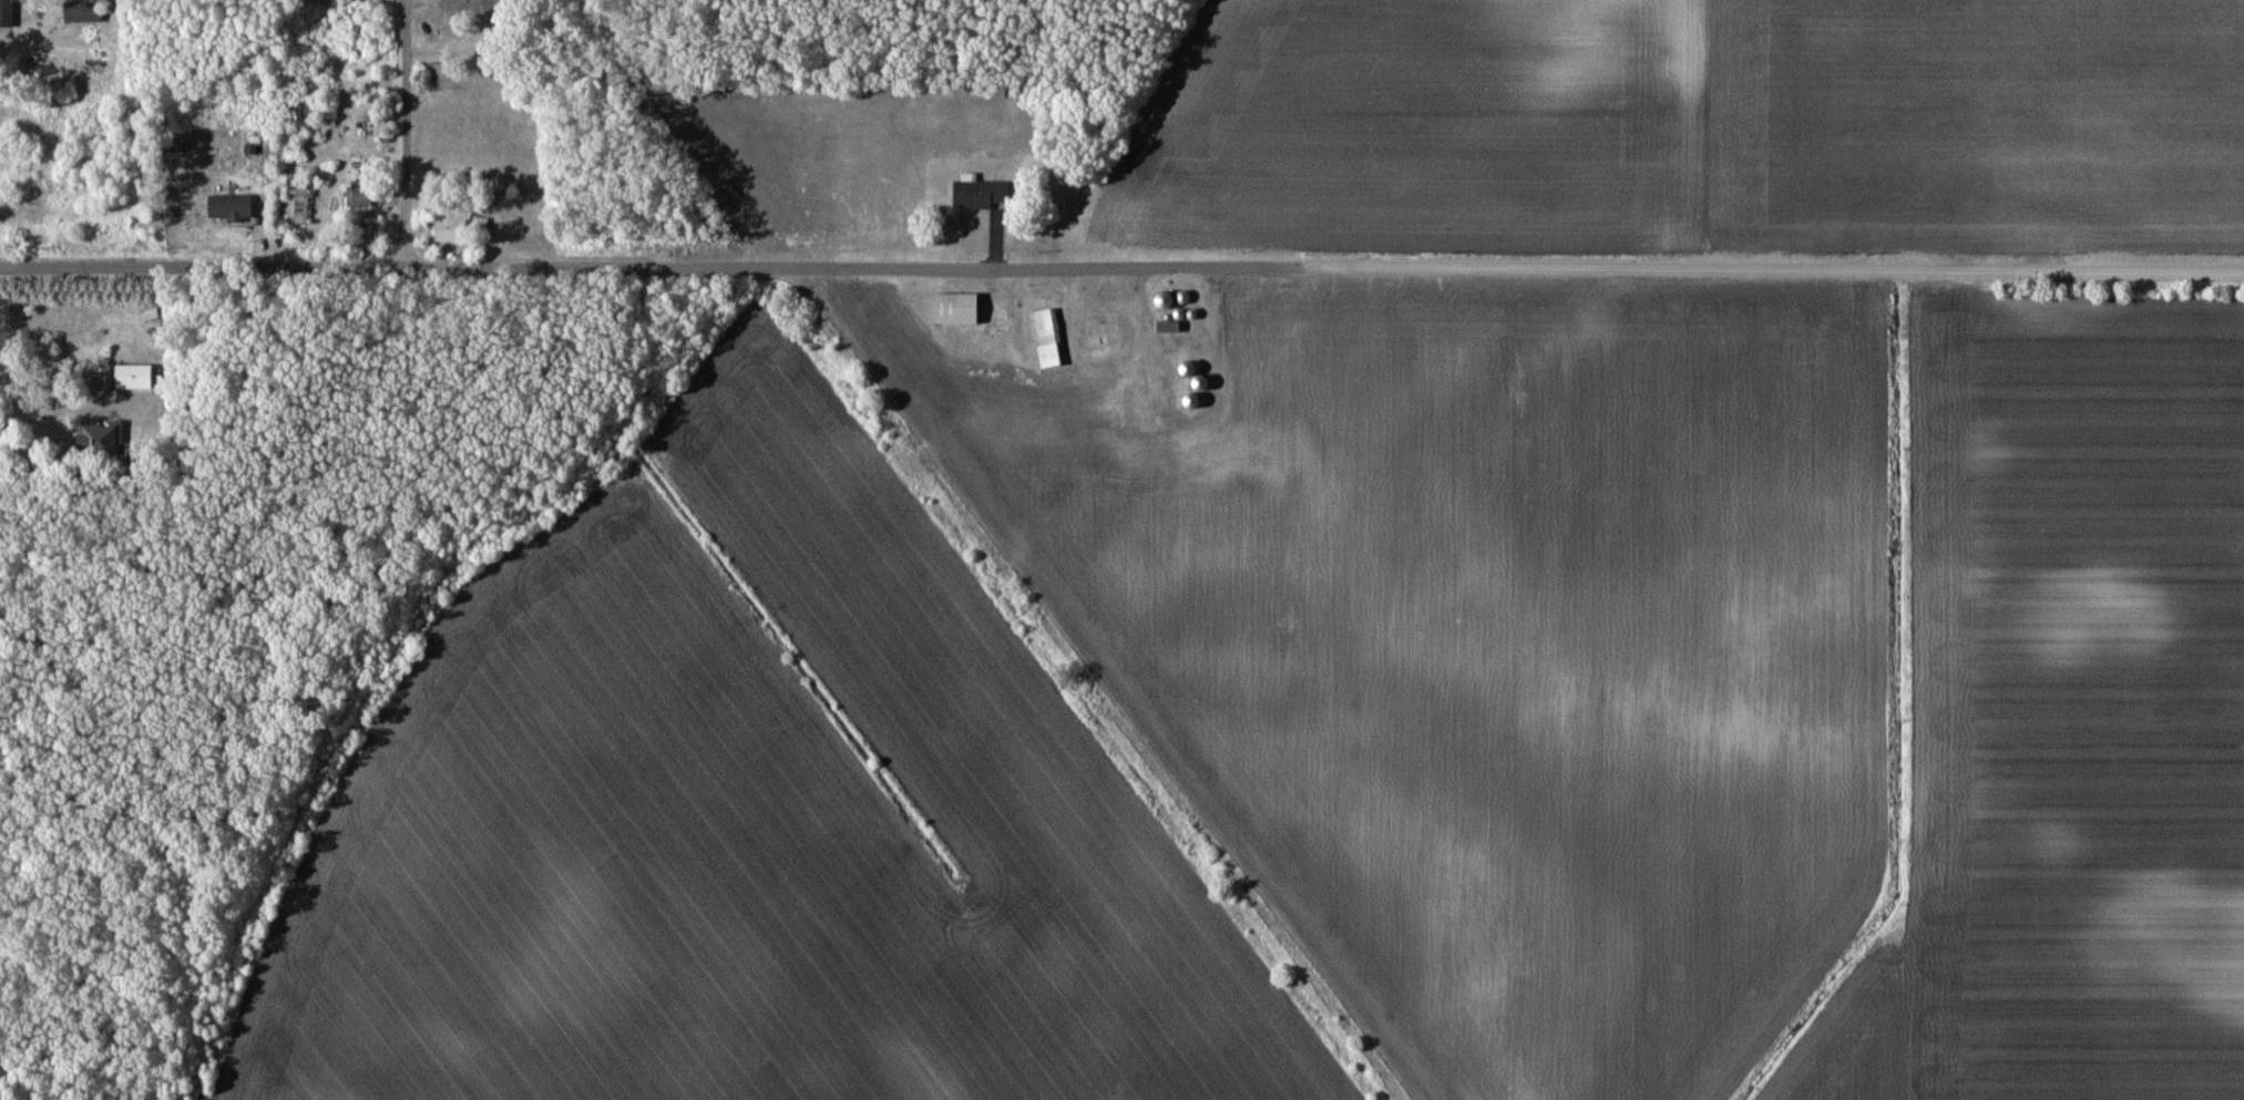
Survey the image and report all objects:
building: (14, 1)
building: (472, 3)
building: (83, 11)
road: (409, 132)
building: (359, 194)
building: (983, 194)
building: (295, 201)
building: (230, 207)
building: (450, 225)
road: (1121, 260)
building: (957, 308)
building: (1169, 326)
building: (1109, 332)
building: (1048, 338)
building: (1190, 368)
building: (132, 377)
building: (1126, 392)
road: (76, 399)
building: (1193, 399)
building: (92, 436)
building: (1241, 442)

